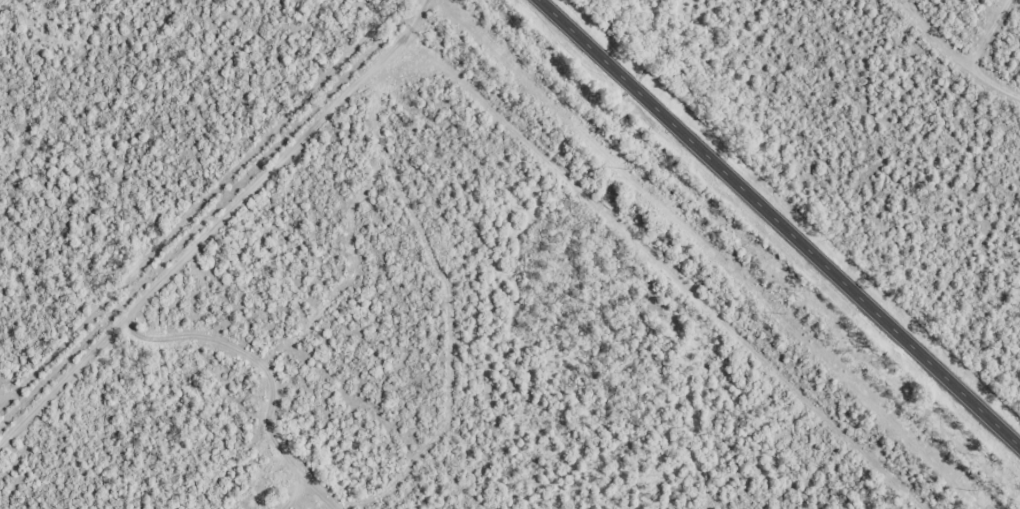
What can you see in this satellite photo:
power tower: (617, 167)
road: (779, 223)
power tower: (774, 311)
power tower: (970, 490)

